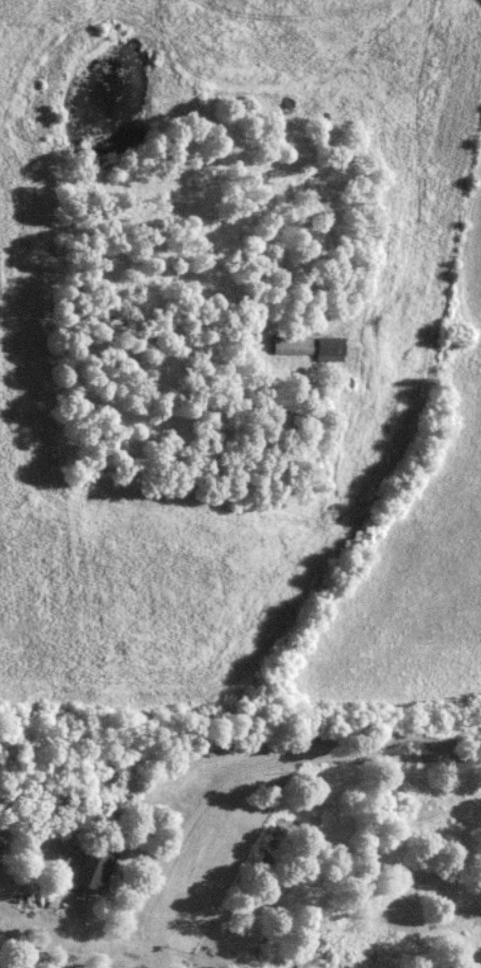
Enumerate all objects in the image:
building: (291, 347)
building: (328, 350)
road: (212, 793)
building: (93, 869)

